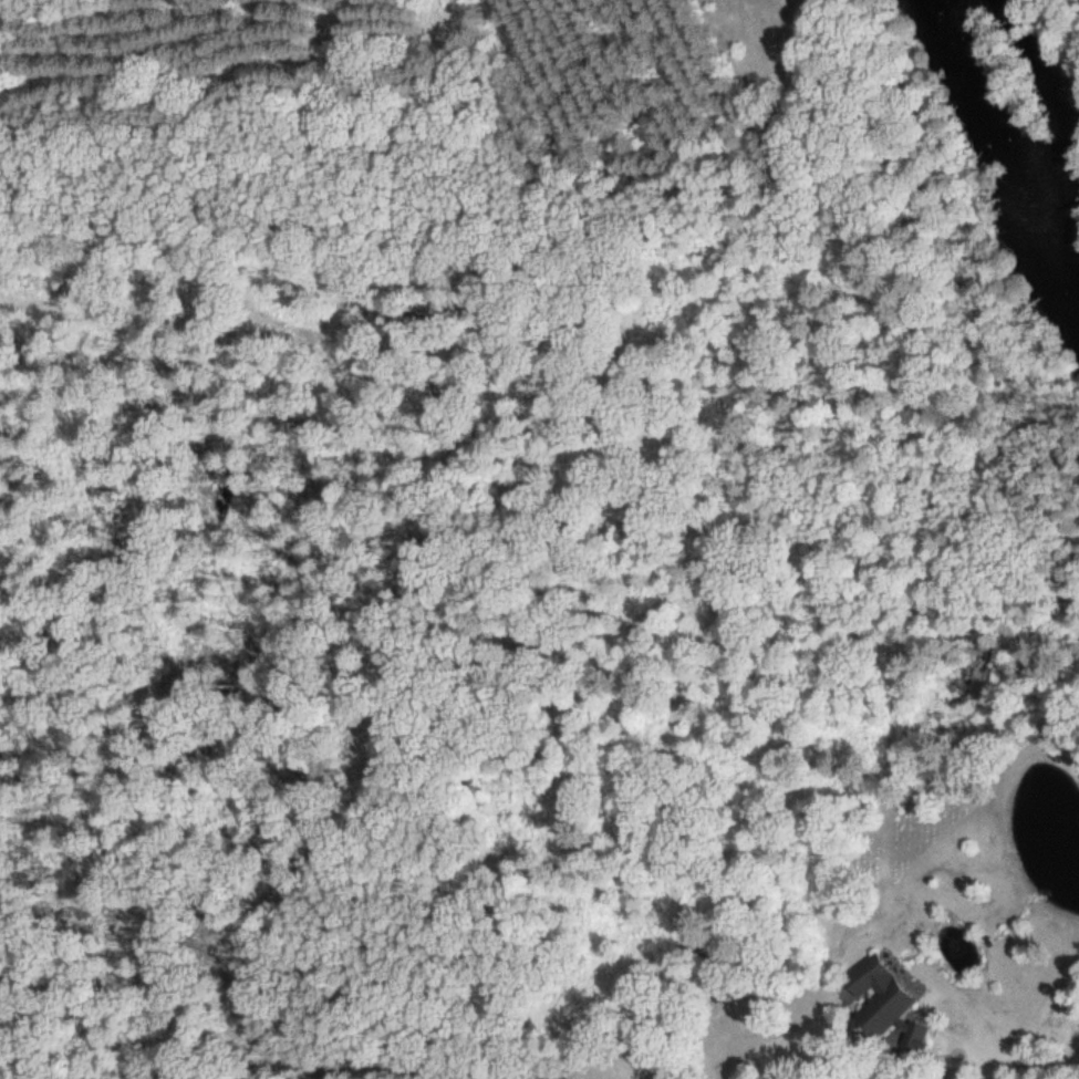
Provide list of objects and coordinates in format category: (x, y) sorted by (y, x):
river: (1004, 155)
building: (873, 997)
road: (782, 1021)
road: (737, 1036)
building: (913, 1039)
road: (904, 1069)

